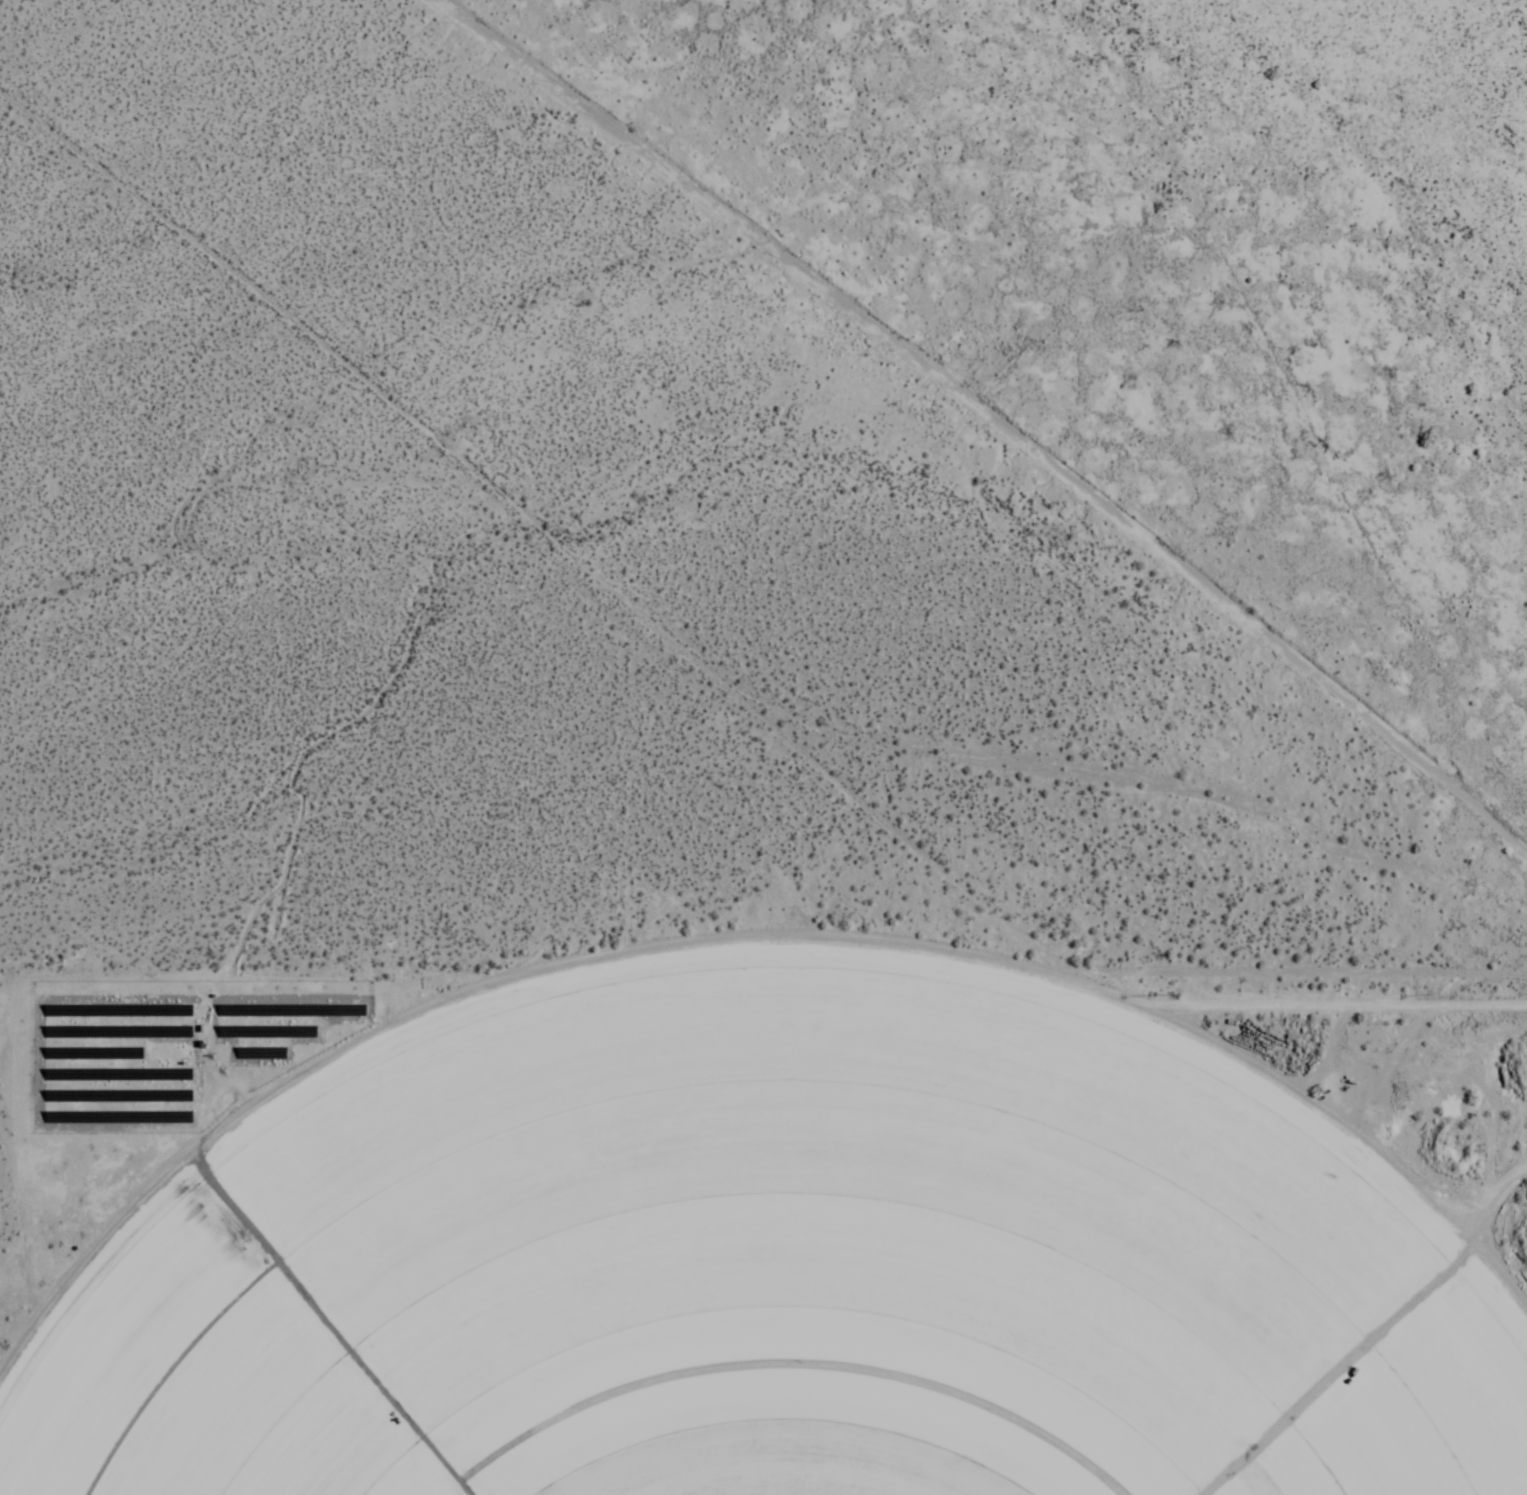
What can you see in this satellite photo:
road: (997, 414)
crop: (762, 1264)

